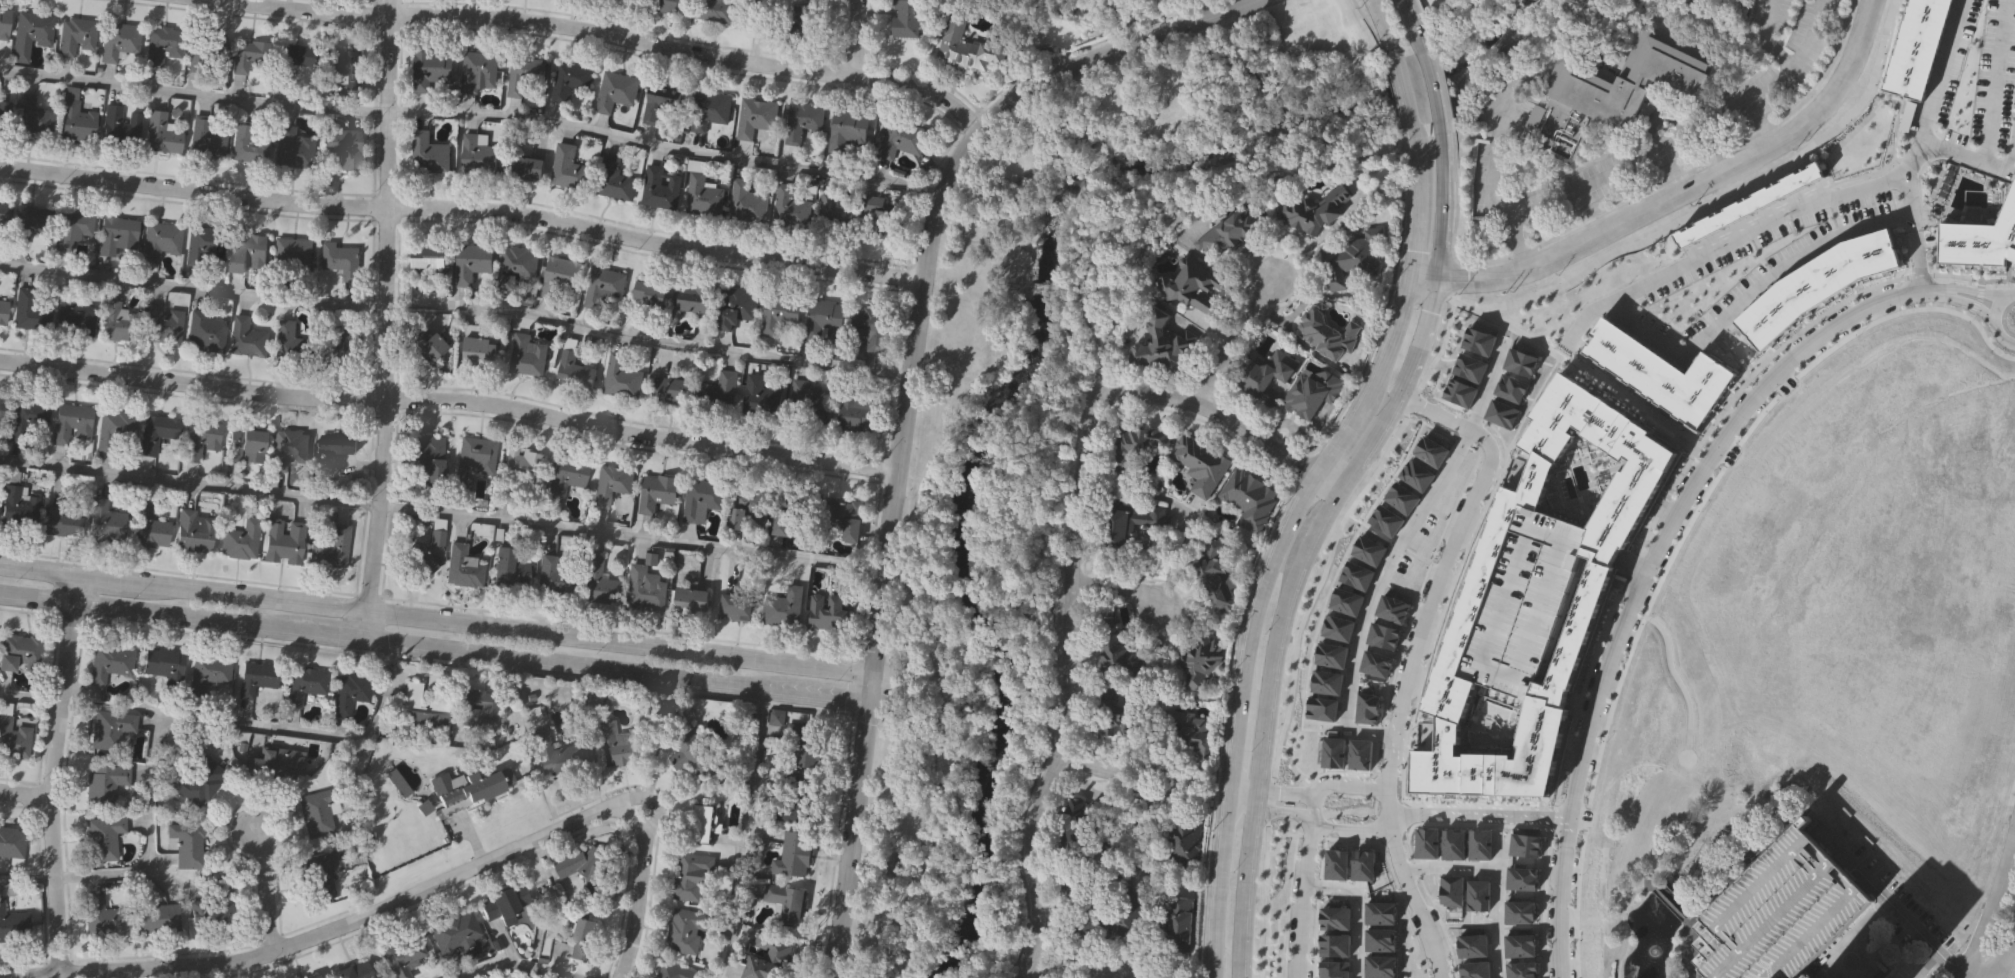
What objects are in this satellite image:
building: (635, 1)
building: (668, 5)
building: (715, 10)
road: (1209, 14)
building: (906, 18)
road: (1410, 21)
building: (4, 23)
road: (1384, 24)
building: (800, 26)
road: (756, 30)
road: (1806, 34)
building: (31, 35)
building: (75, 36)
road: (637, 37)
road: (855, 37)
road: (1145, 38)
road: (1761, 38)
building: (119, 42)
building: (963, 42)
building: (162, 46)
building: (1914, 48)
road: (2000, 50)
building: (203, 51)
building: (251, 55)
building: (292, 60)
building: (343, 69)
building: (431, 71)
building: (476, 72)
road: (1934, 73)
building: (522, 74)
building: (567, 81)
road: (1432, 86)
building: (1610, 89)
building: (614, 91)
road: (1405, 92)
road: (1749, 97)
building: (657, 103)
building: (707, 111)
road: (473, 113)
building: (4, 115)
building: (30, 117)
building: (754, 117)
building: (75, 118)
building: (799, 122)
building: (119, 126)
road: (1397, 126)
building: (847, 130)
building: (159, 134)
building: (901, 139)
building: (205, 140)
building: (250, 142)
building: (293, 149)
building: (343, 150)
building: (428, 154)
building: (477, 154)
road: (1627, 160)
building: (526, 168)
building: (568, 168)
road: (2004, 171)
building: (612, 178)
road: (1489, 184)
building: (659, 187)
road: (1676, 193)
building: (702, 195)
road: (1416, 201)
building: (747, 203)
building: (834, 205)
building: (1749, 205)
road: (464, 207)
building: (788, 208)
building: (1316, 209)
building: (3, 212)
building: (879, 215)
road: (1782, 220)
building: (27, 223)
building: (72, 229)
building: (1230, 230)
road: (1912, 233)
building: (117, 235)
building: (1979, 240)
building: (160, 242)
road: (1398, 246)
building: (203, 248)
building: (247, 252)
road: (1802, 255)
building: (427, 256)
building: (293, 257)
building: (1352, 257)
building: (341, 261)
building: (470, 262)
building: (516, 268)
building: (559, 276)
building: (1192, 283)
building: (1817, 284)
building: (602, 287)
road: (1940, 292)
building: (648, 294)
building: (693, 298)
road: (457, 304)
building: (735, 307)
building: (29, 308)
building: (2, 312)
building: (778, 314)
building: (75, 317)
road: (1993, 317)
road: (387, 318)
building: (821, 319)
building: (118, 323)
building: (161, 325)
building: (869, 327)
building: (1329, 332)
building: (204, 333)
building: (247, 339)
building: (290, 343)
building: (430, 343)
building: (1164, 343)
road: (1233, 343)
building: (340, 346)
building: (479, 351)
building: (527, 356)
building: (573, 371)
building: (1660, 373)
building: (1268, 374)
building: (620, 378)
building: (717, 388)
building: (668, 391)
building: (1314, 391)
road: (451, 398)
building: (759, 398)
building: (807, 403)
building: (1, 408)
building: (853, 412)
building: (27, 422)
building: (70, 423)
building: (115, 432)
building: (155, 433)
park: (1049, 438)
building: (200, 439)
building: (1137, 442)
building: (337, 444)
building: (244, 447)
road: (1045, 448)
building: (286, 449)
building: (425, 455)
building: (473, 461)
building: (523, 463)
building: (1202, 463)
road: (1353, 464)
road: (900, 466)
building: (566, 476)
building: (609, 484)
building: (656, 492)
building: (1250, 497)
building: (700, 498)
road: (1686, 500)
building: (17, 507)
building: (746, 508)
building: (793, 512)
road: (443, 514)
building: (842, 518)
building: (62, 521)
building: (105, 522)
building: (1132, 522)
road: (1288, 525)
building: (148, 526)
building: (193, 531)
building: (437, 532)
building: (241, 540)
building: (284, 542)
building: (330, 548)
road: (1396, 550)
road: (1072, 557)
building: (417, 560)
road: (1584, 564)
building: (461, 567)
building: (508, 570)
road: (1600, 570)
road: (1444, 572)
building: (1217, 575)
building: (551, 577)
road: (1626, 580)
building: (597, 583)
building: (1594, 584)
road: (1121, 586)
building: (643, 588)
road: (77, 589)
building: (689, 601)
building: (1522, 605)
parking garage: (1522, 605)
building: (734, 607)
building: (782, 607)
building: (827, 612)
road: (436, 615)
road: (434, 643)
building: (19, 651)
building: (1120, 651)
building: (1200, 659)
building: (163, 662)
building: (110, 663)
building: (208, 673)
building: (255, 678)
road: (1159, 682)
building: (306, 684)
building: (349, 693)
parking lot: (895, 695)
road: (30, 697)
building: (422, 709)
building: (1119, 709)
building: (476, 710)
road: (161, 714)
building: (1193, 727)
building: (111, 729)
building: (13, 739)
building: (621, 745)
building: (554, 755)
building: (807, 755)
building: (698, 756)
building: (274, 766)
road: (1104, 769)
building: (198, 780)
building: (104, 784)
building: (469, 786)
road: (51, 789)
road: (1311, 790)
road: (25, 794)
building: (795, 799)
building: (317, 813)
road: (1482, 816)
road: (1311, 818)
road: (1395, 822)
building: (703, 824)
building: (1084, 830)
road: (746, 832)
building: (103, 838)
building: (11, 842)
building: (1182, 844)
building: (187, 845)
building: (794, 853)
road: (1840, 859)
building: (577, 861)
road: (1453, 867)
building: (319, 875)
building: (693, 877)
road: (1309, 882)
road: (1243, 887)
road: (266, 890)
road: (1218, 890)
road: (1874, 890)
road: (638, 894)
road: (1564, 898)
building: (509, 902)
building: (785, 903)
road: (1421, 904)
road: (1500, 907)
road: (1361, 909)
building: (1082, 911)
building: (1778, 912)
parking garage: (1778, 912)
building: (209, 914)
road: (1992, 914)
building: (1127, 915)
building: (1335, 917)
building: (103, 918)
building: (156, 918)
building: (13, 921)
building: (1174, 922)
road: (324, 928)
building: (454, 931)
building: (685, 931)
building: (583, 940)
road: (887, 949)
road: (2004, 954)
building: (402, 956)
building: (764, 956)
road: (1943, 956)
road: (519, 966)
road: (1078, 967)
building: (1336, 969)
building: (359, 971)
building: (673, 971)
road: (851, 972)
building: (312, 976)
road: (864, 977)

